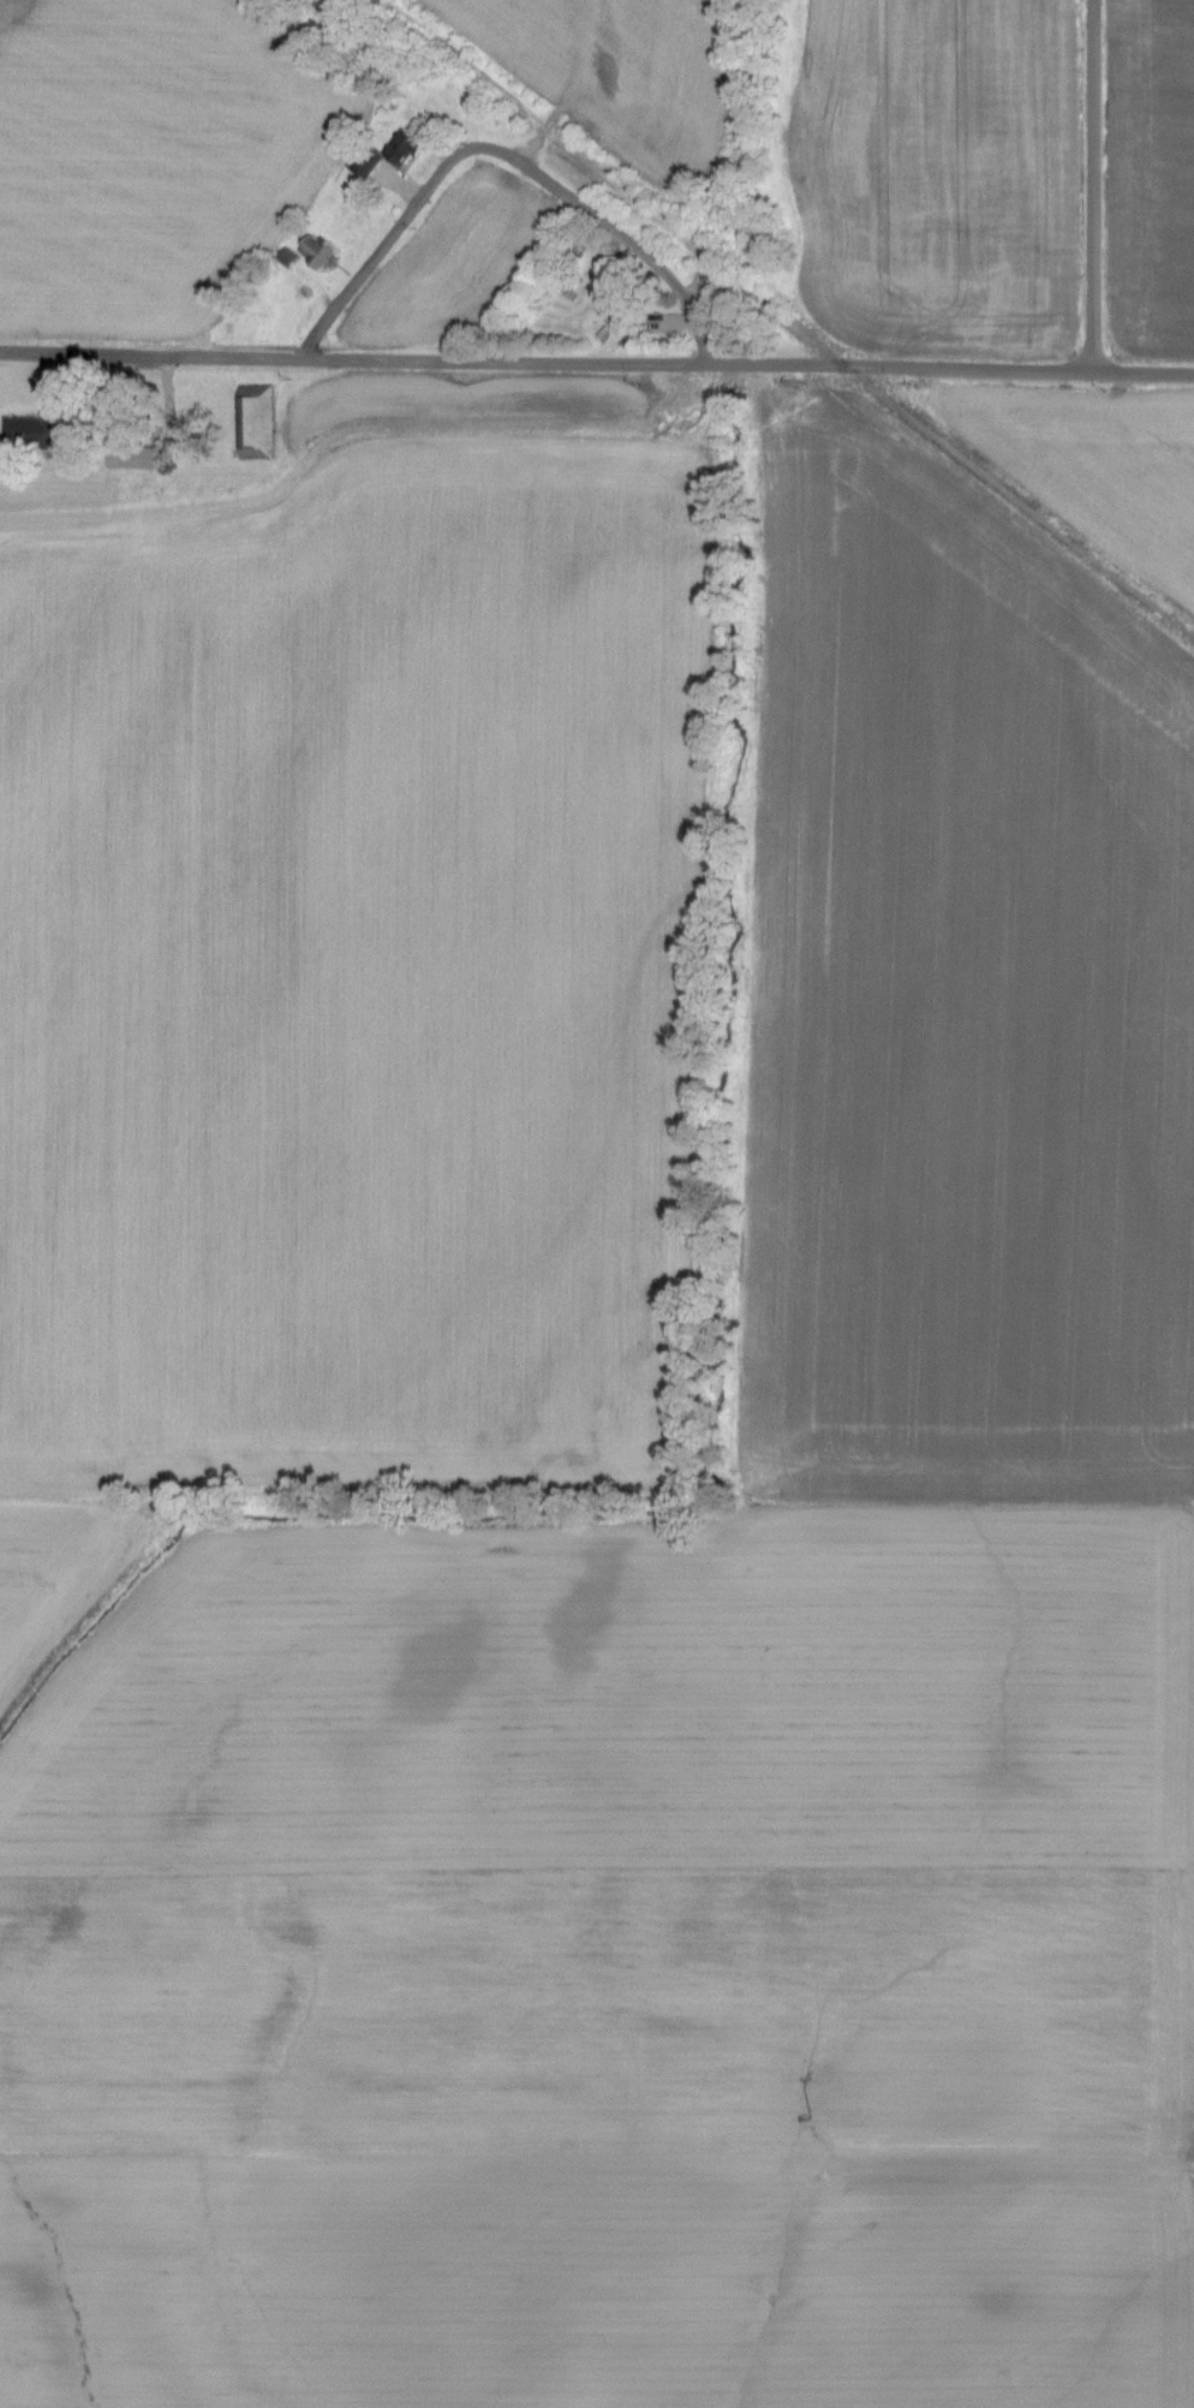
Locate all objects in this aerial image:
building: (393, 154)
road: (503, 154)
road: (1094, 186)
building: (323, 250)
building: (619, 308)
road: (597, 363)
building: (261, 422)
building: (43, 431)
building: (143, 457)

